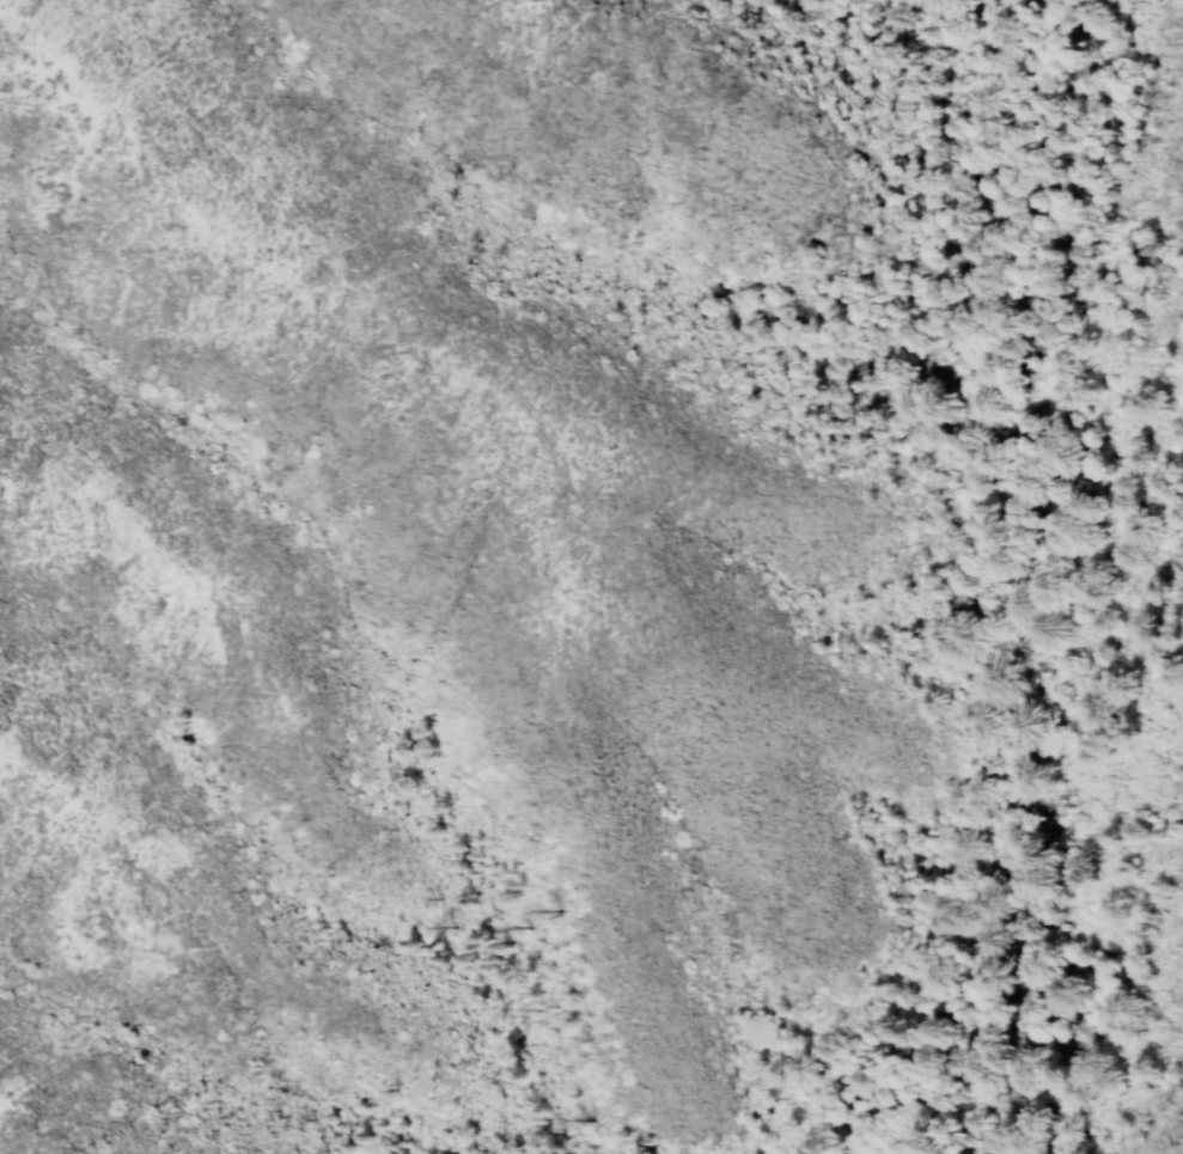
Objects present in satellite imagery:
road: (1161, 1129)

